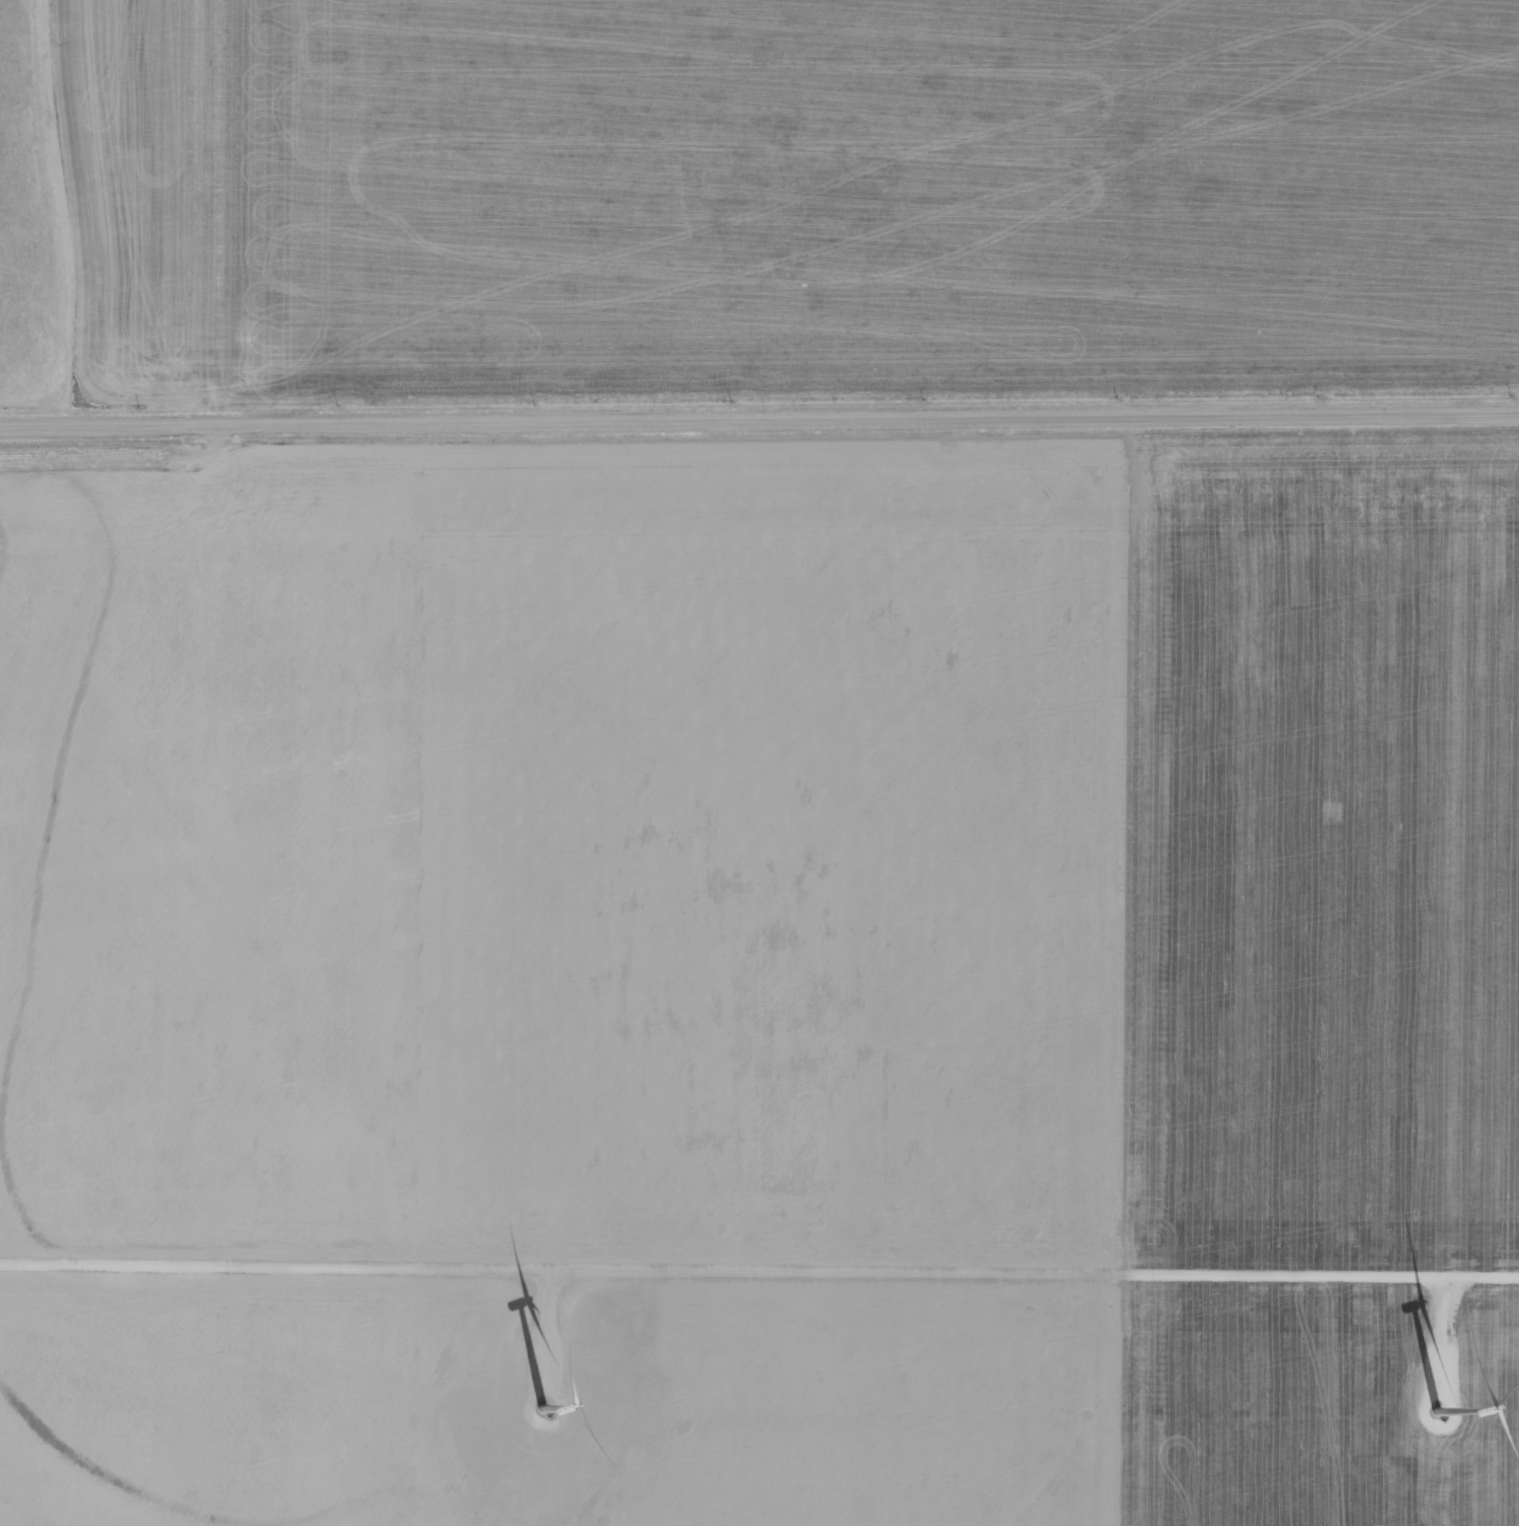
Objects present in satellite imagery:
road: (759, 417)
wind turbine: (541, 1415)
wind turbine: (1434, 1419)

